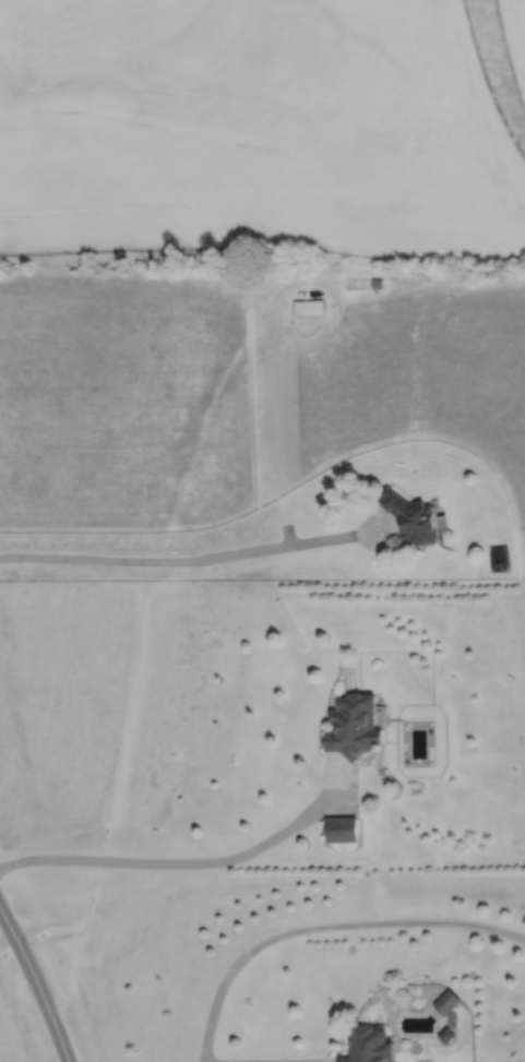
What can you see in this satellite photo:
crop: (261, 133)
building: (308, 308)
building: (413, 520)
road: (188, 561)
building: (348, 726)
building: (338, 830)
road: (174, 861)
road: (326, 931)
road: (35, 986)
building: (444, 1002)
building: (366, 1045)

